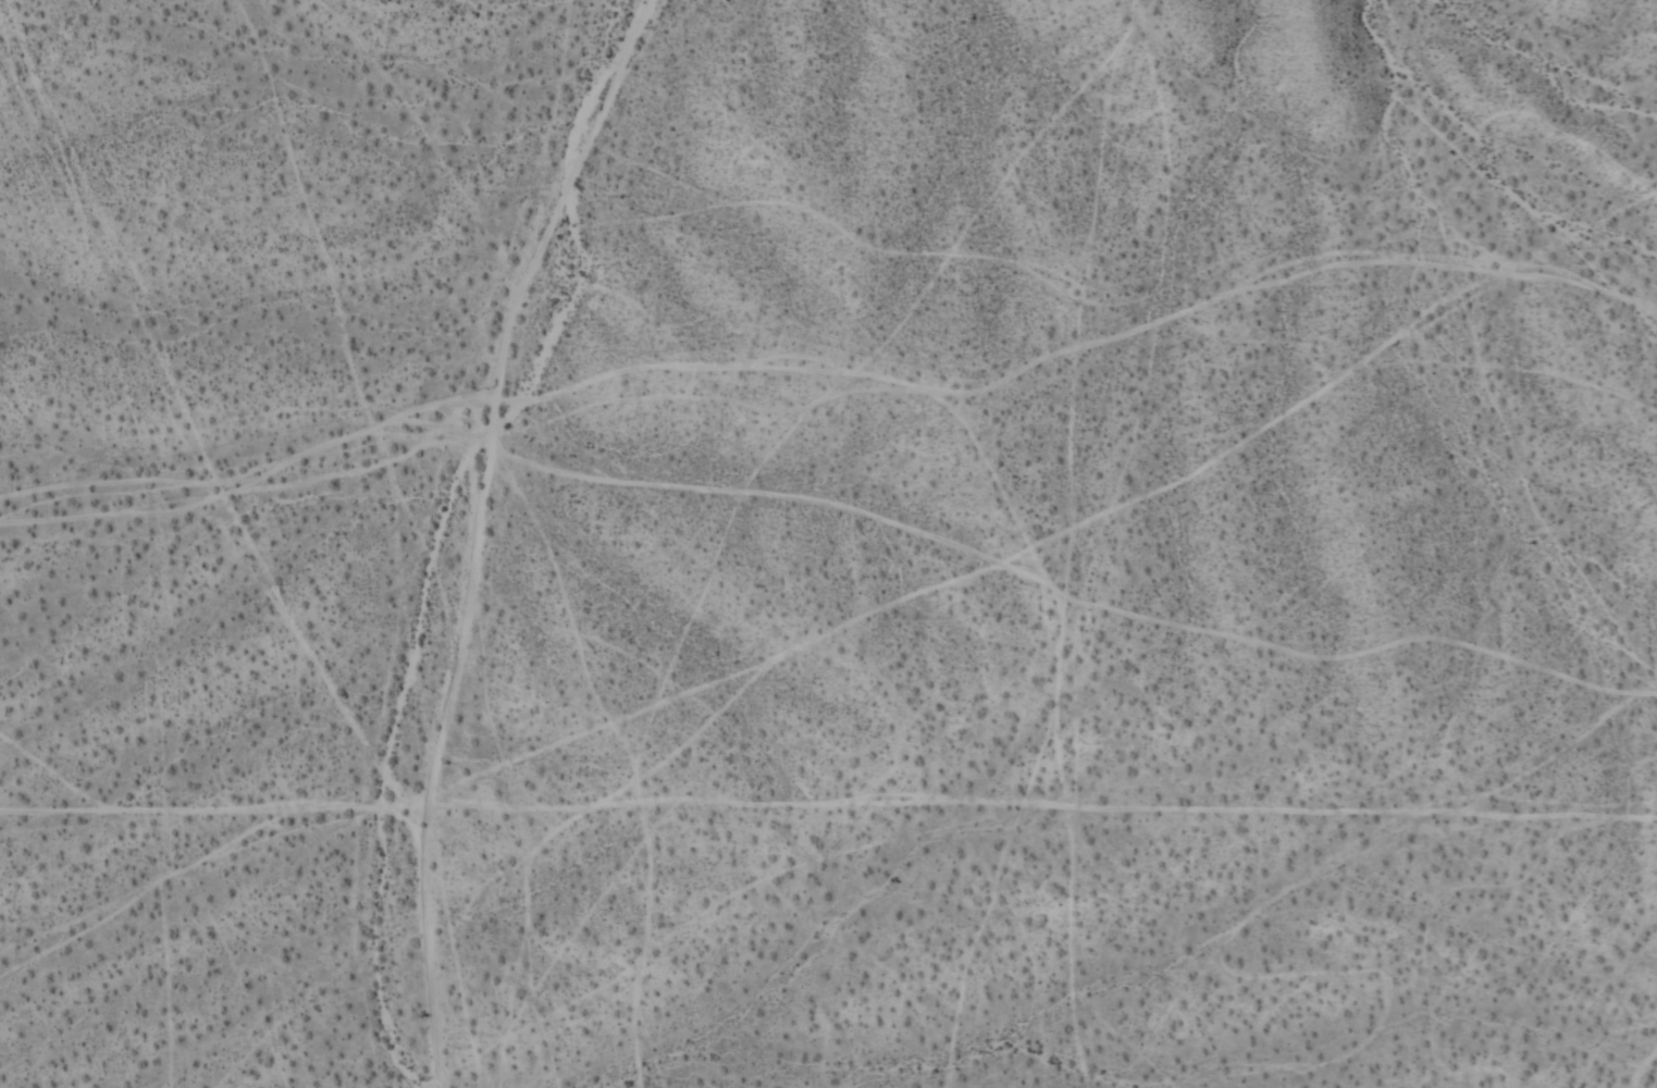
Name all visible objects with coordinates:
crop: (829, 820)

